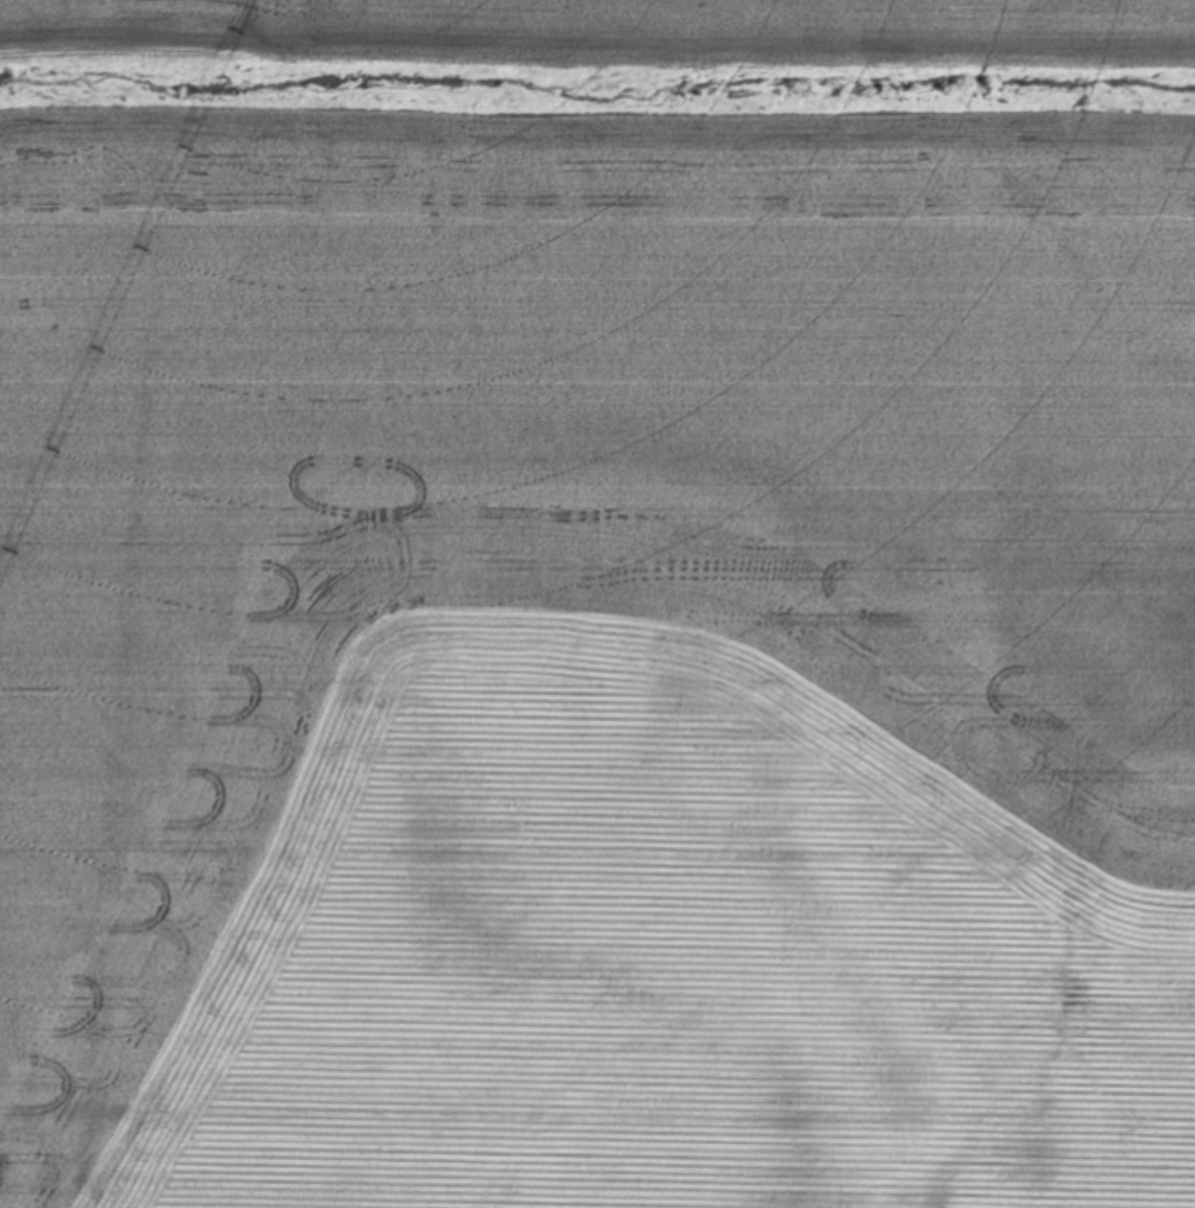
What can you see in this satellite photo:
crop: (597, 603)

